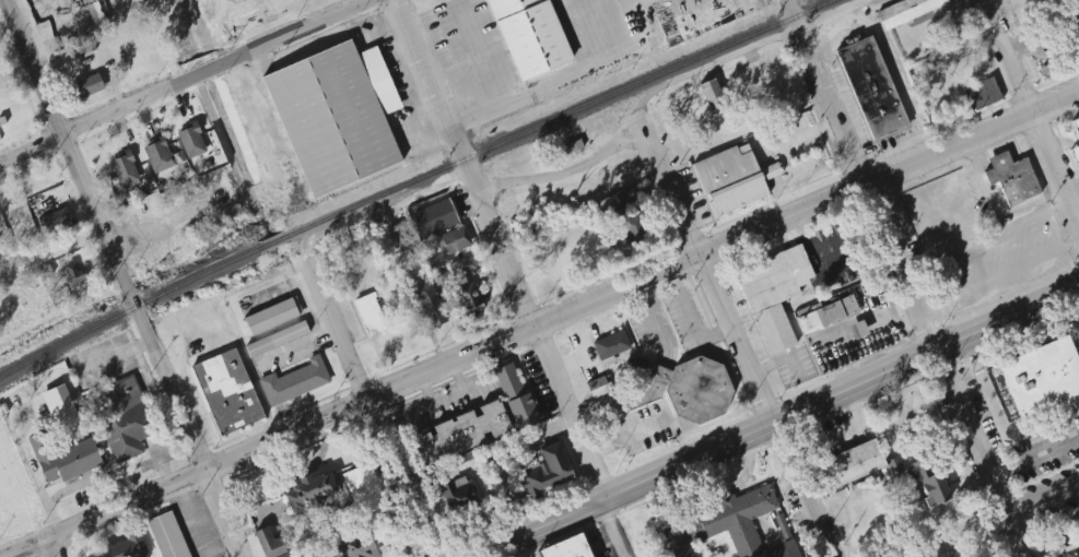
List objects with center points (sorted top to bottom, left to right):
road: (786, 10)
road: (606, 12)
building: (907, 12)
building: (95, 13)
parking lot: (1052, 33)
road: (1041, 34)
building: (529, 36)
road: (744, 50)
road: (478, 52)
road: (895, 74)
road: (1056, 79)
road: (426, 81)
road: (186, 82)
building: (87, 86)
road: (541, 87)
parking lot: (1059, 87)
building: (870, 88)
building: (713, 95)
building: (982, 95)
parking lot: (843, 96)
road: (983, 110)
road: (1030, 116)
building: (325, 119)
building: (1070, 139)
building: (191, 141)
building: (574, 146)
road: (67, 153)
building: (162, 156)
building: (125, 169)
road: (561, 174)
building: (1011, 178)
railway: (414, 181)
building: (731, 181)
road: (802, 190)
building: (625, 197)
building: (54, 220)
building: (442, 224)
building: (631, 224)
building: (402, 242)
parking lot: (999, 262)
building: (464, 266)
road: (961, 270)
road: (606, 275)
building: (438, 276)
building: (74, 278)
road: (907, 287)
building: (774, 294)
building: (469, 300)
building: (430, 305)
building: (826, 312)
building: (371, 313)
parking lot: (684, 315)
building: (272, 316)
road: (658, 322)
road: (541, 323)
building: (858, 330)
road: (731, 335)
building: (277, 339)
building: (611, 347)
road: (112, 357)
road: (543, 359)
parking lot: (794, 366)
road: (659, 375)
building: (1035, 378)
building: (294, 381)
building: (598, 388)
building: (694, 389)
building: (227, 392)
building: (515, 394)
parking lot: (980, 406)
road: (617, 407)
road: (367, 408)
building: (120, 417)
road: (776, 422)
road: (187, 431)
building: (460, 434)
parking lot: (1045, 452)
building: (63, 458)
road: (1034, 458)
building: (851, 464)
building: (546, 472)
building: (926, 484)
building: (363, 488)
building: (310, 490)
building: (456, 495)
road: (56, 499)
building: (342, 514)
road: (193, 521)
road: (999, 521)
building: (740, 523)
building: (782, 526)
building: (167, 535)
building: (676, 537)
building: (270, 544)
building: (568, 547)
road: (48, 548)
building: (121, 548)
building: (1069, 548)
building: (359, 549)
road: (225, 553)
building: (695, 556)

